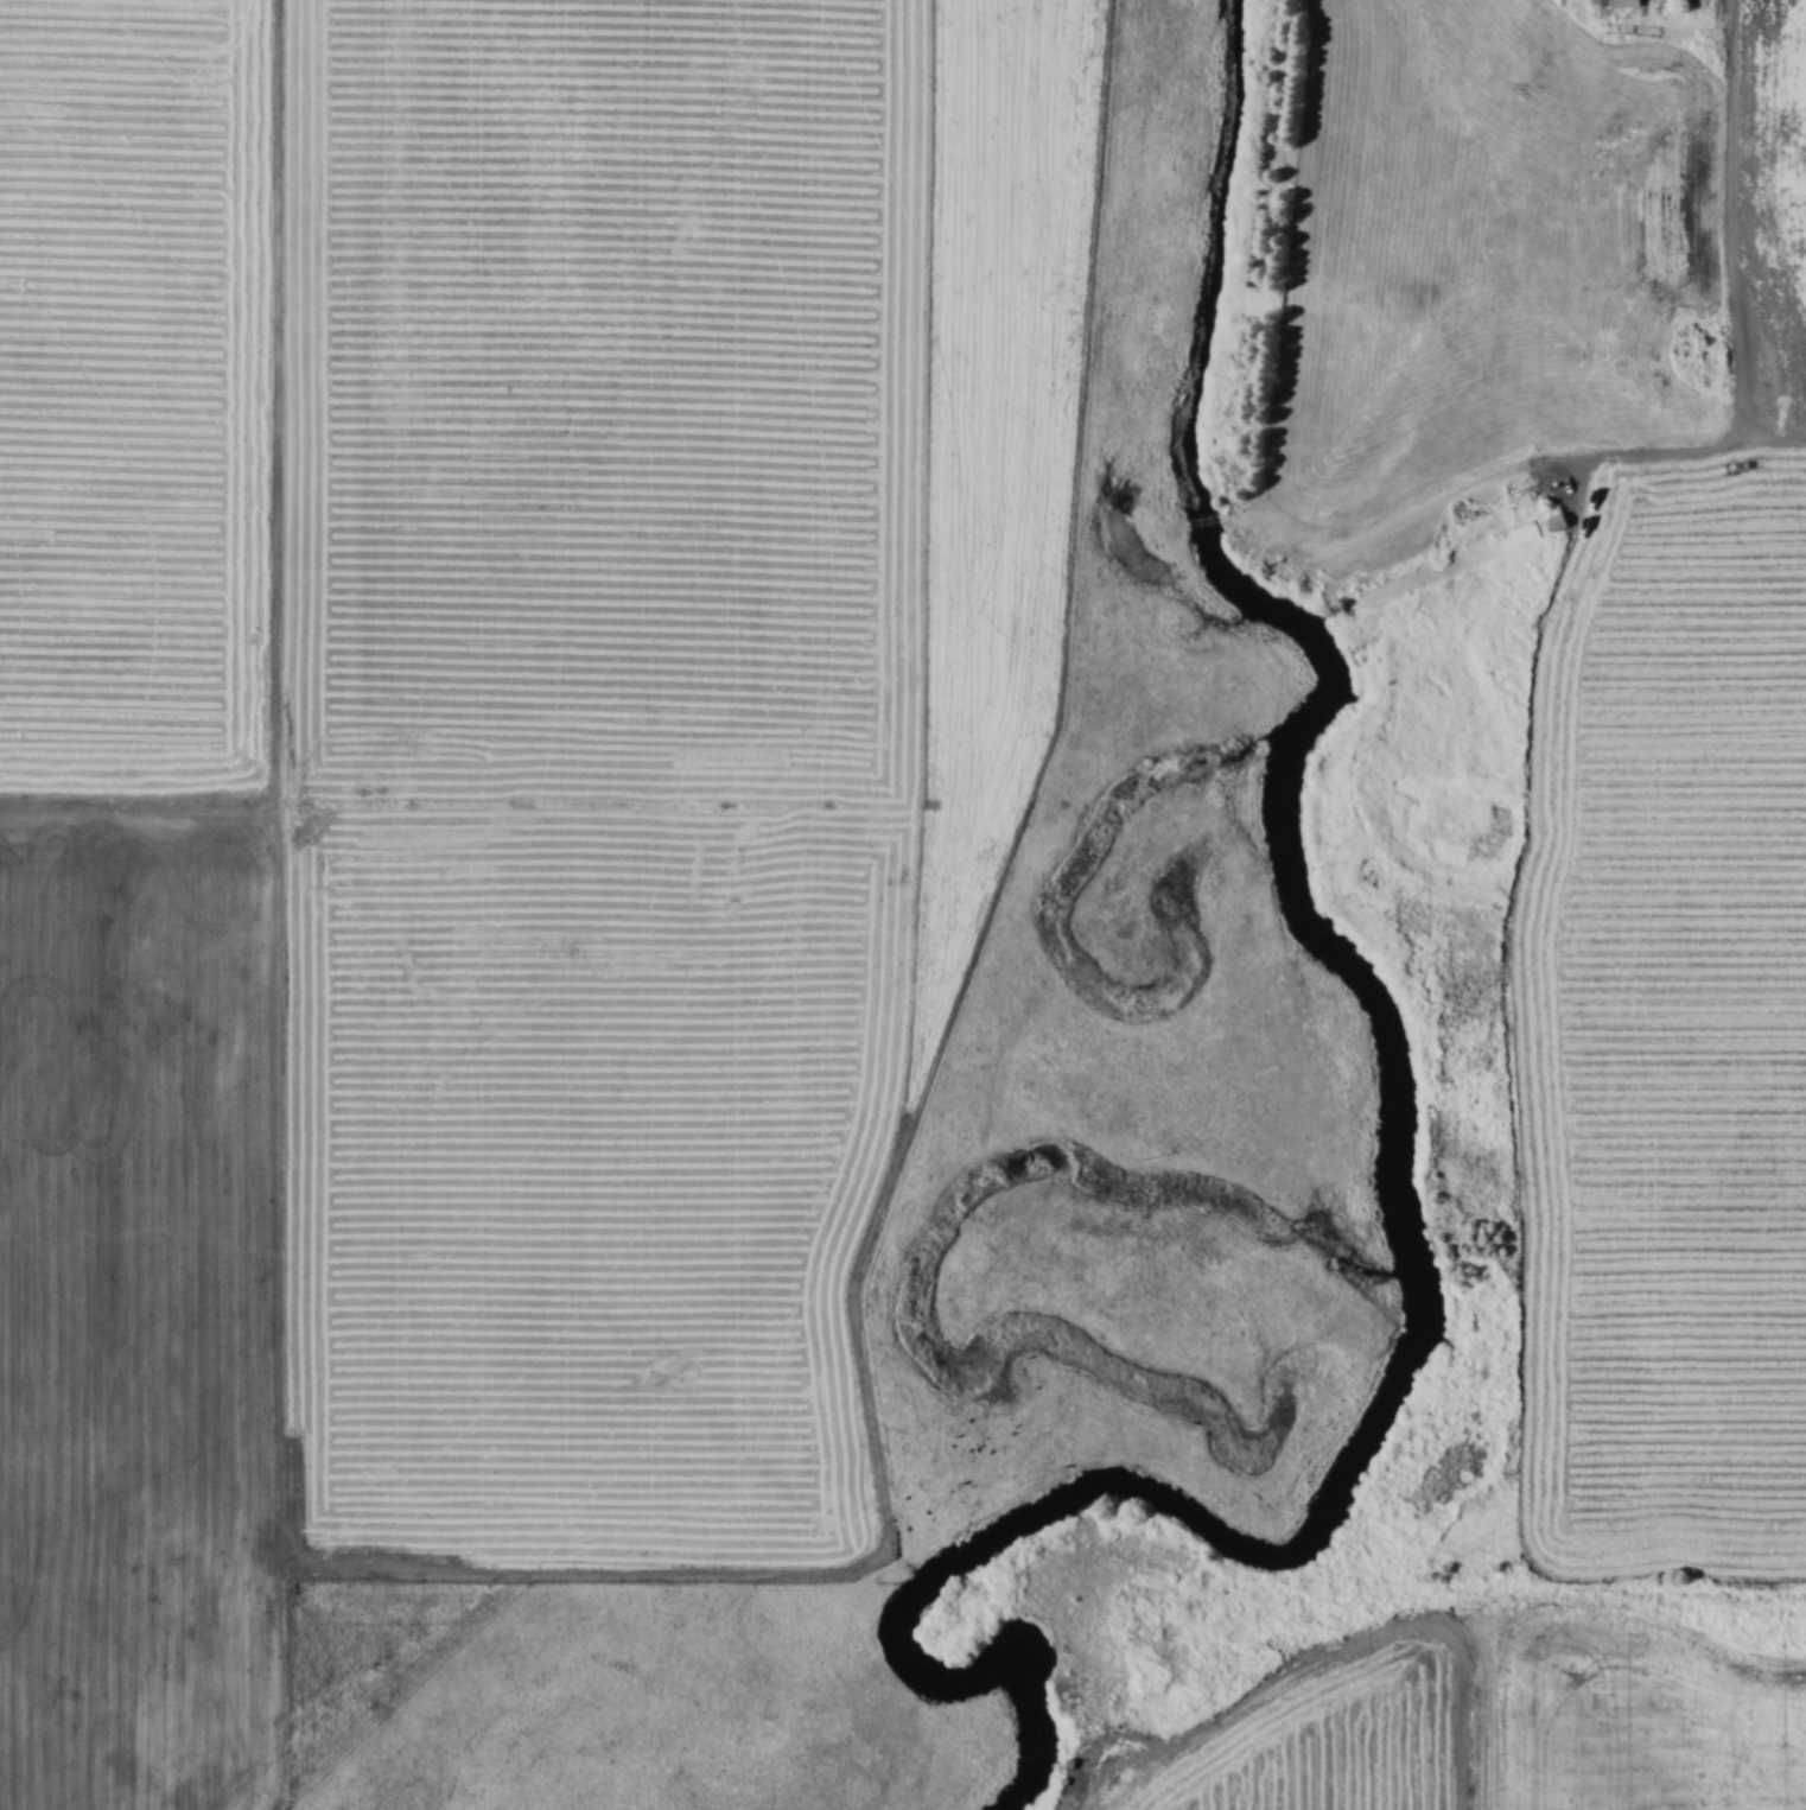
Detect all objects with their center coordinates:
building: (1559, 522)

